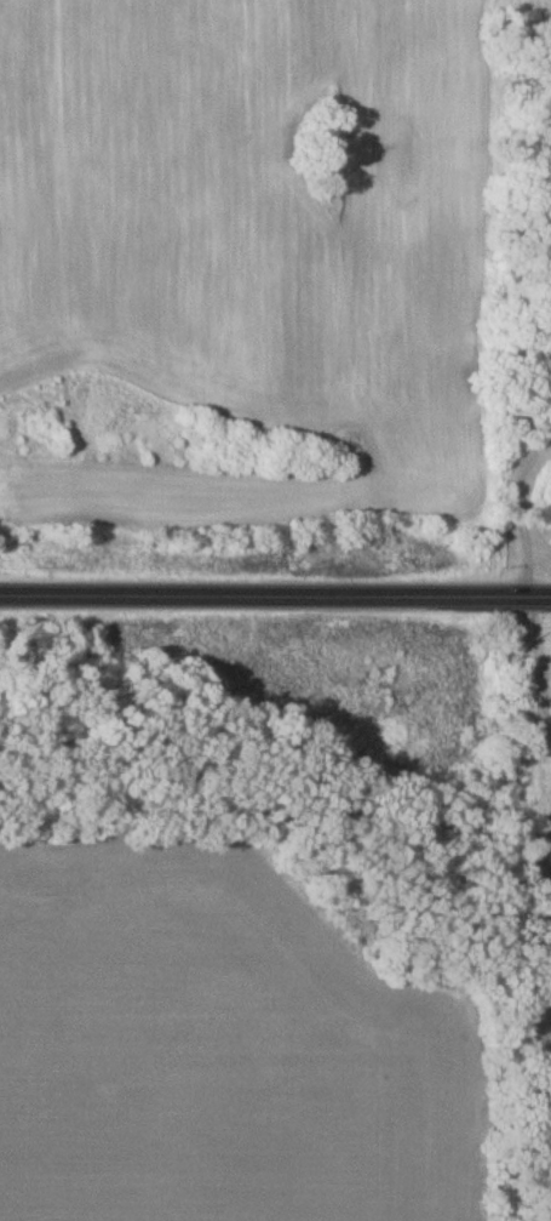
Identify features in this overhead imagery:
road: (524, 520)
road: (275, 598)
road: (510, 909)

